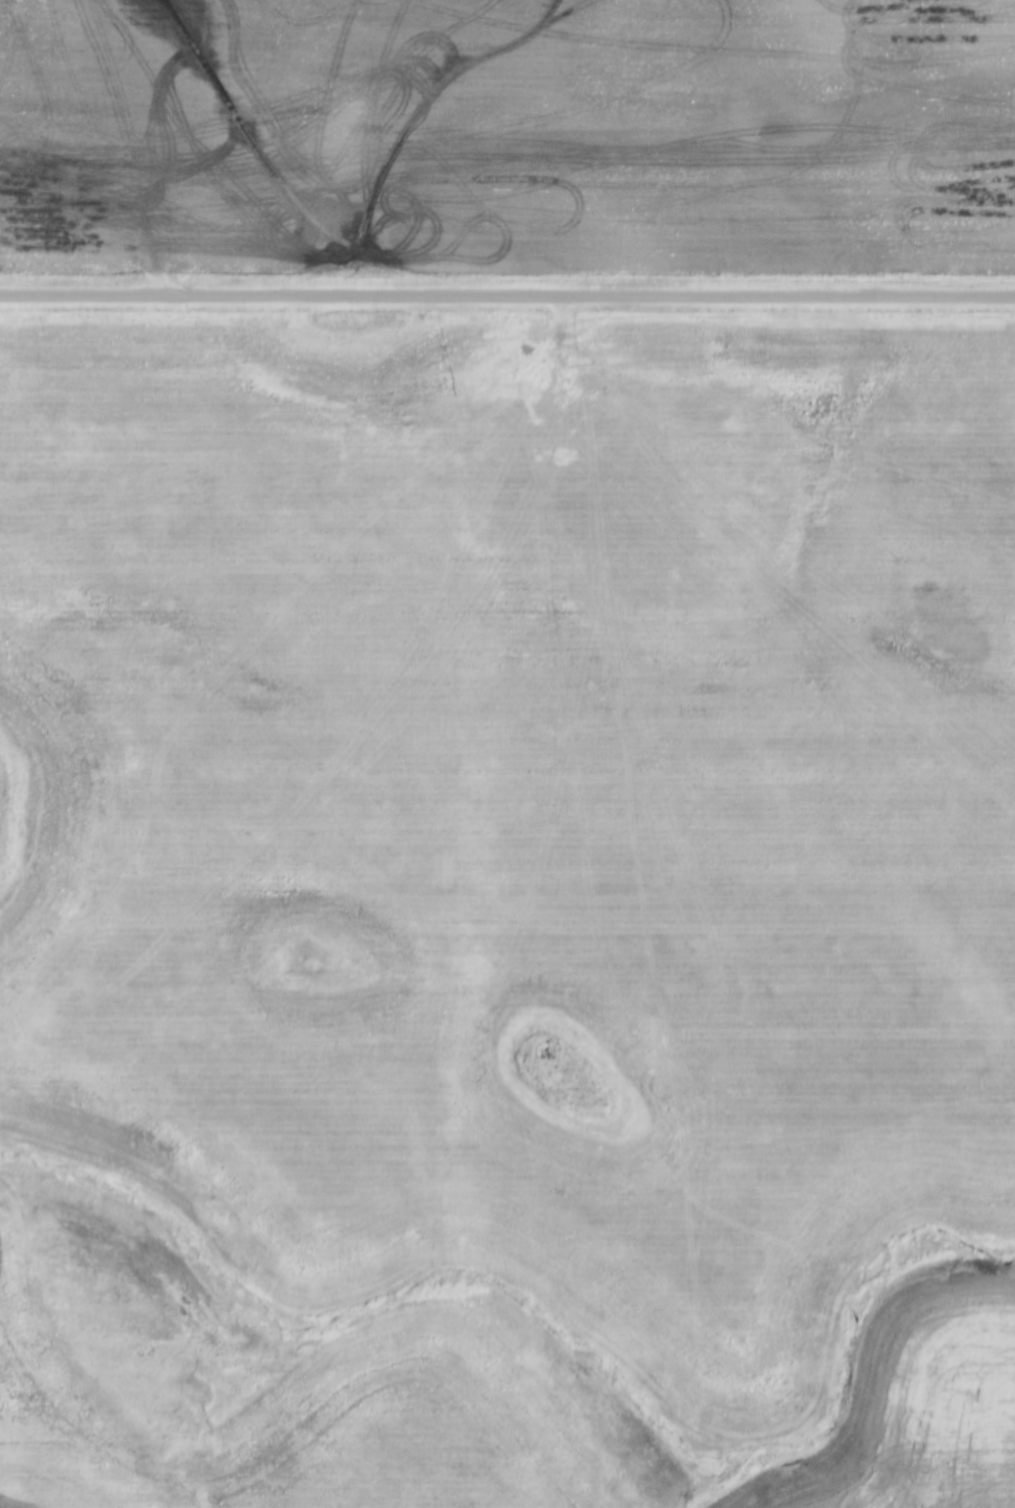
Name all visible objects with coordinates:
road: (507, 293)

